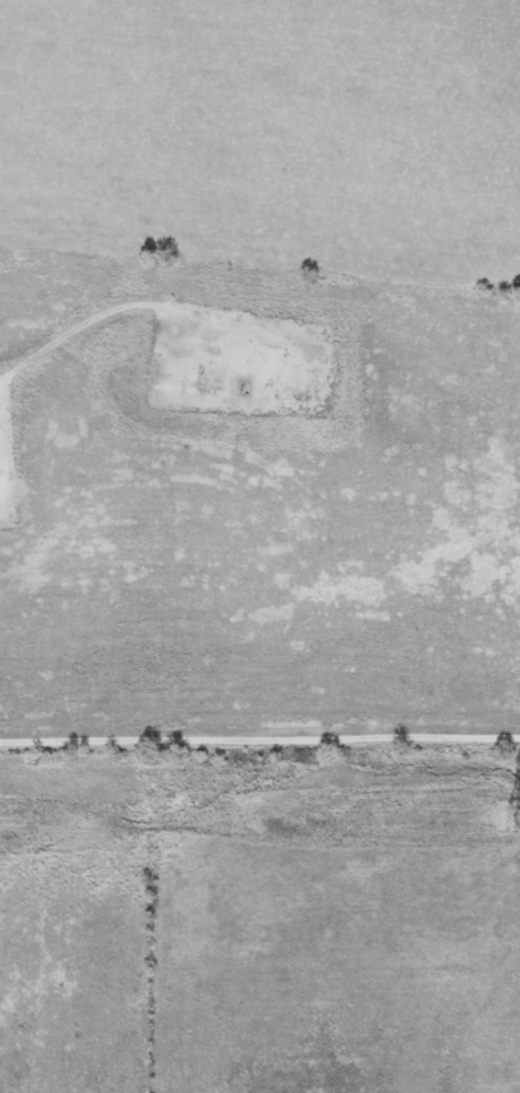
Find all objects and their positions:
road: (260, 738)
power tower: (517, 819)

